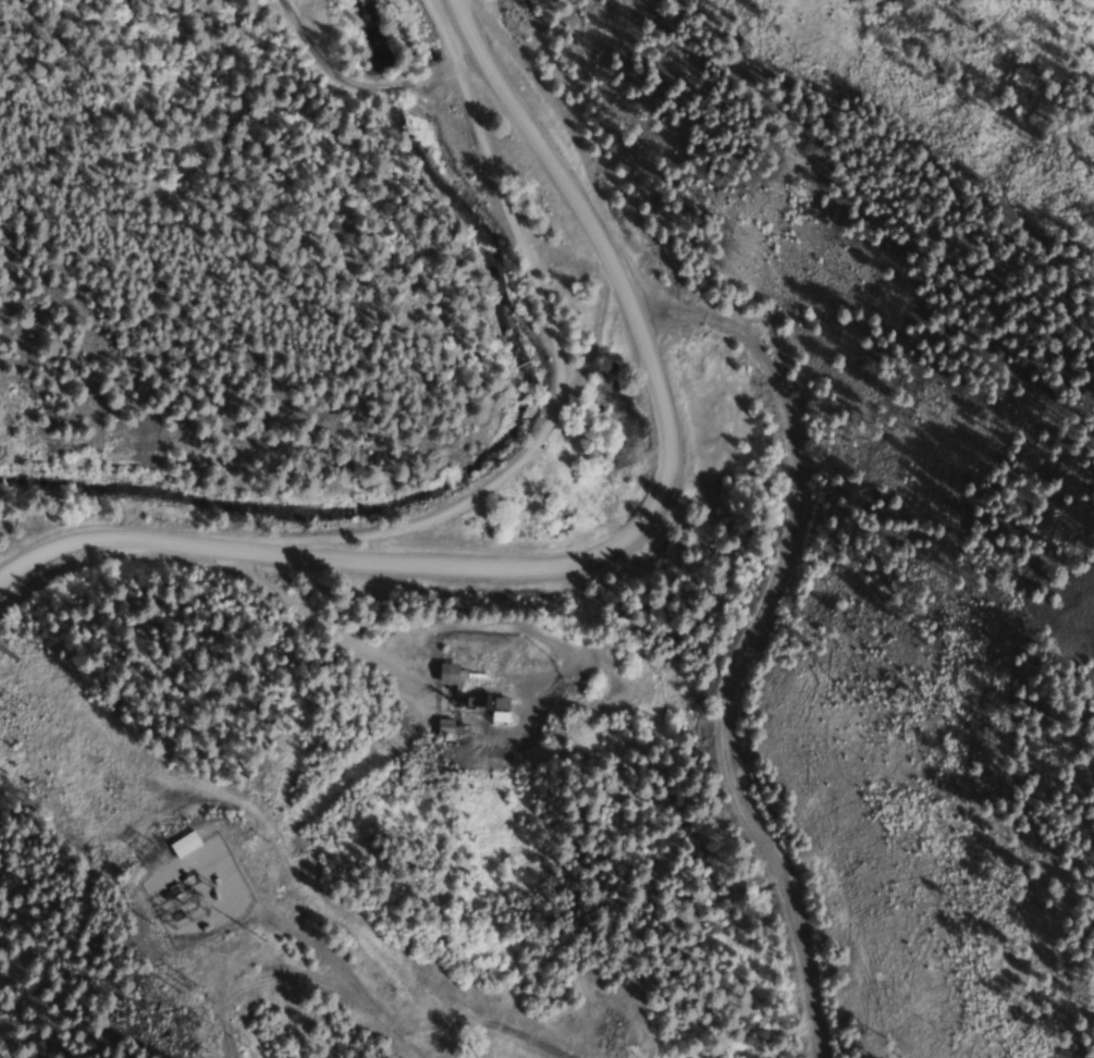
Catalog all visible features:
road: (438, 72)
road: (495, 477)
road: (618, 559)
building: (445, 674)
building: (497, 711)
building: (181, 848)
power substation: (194, 879)

